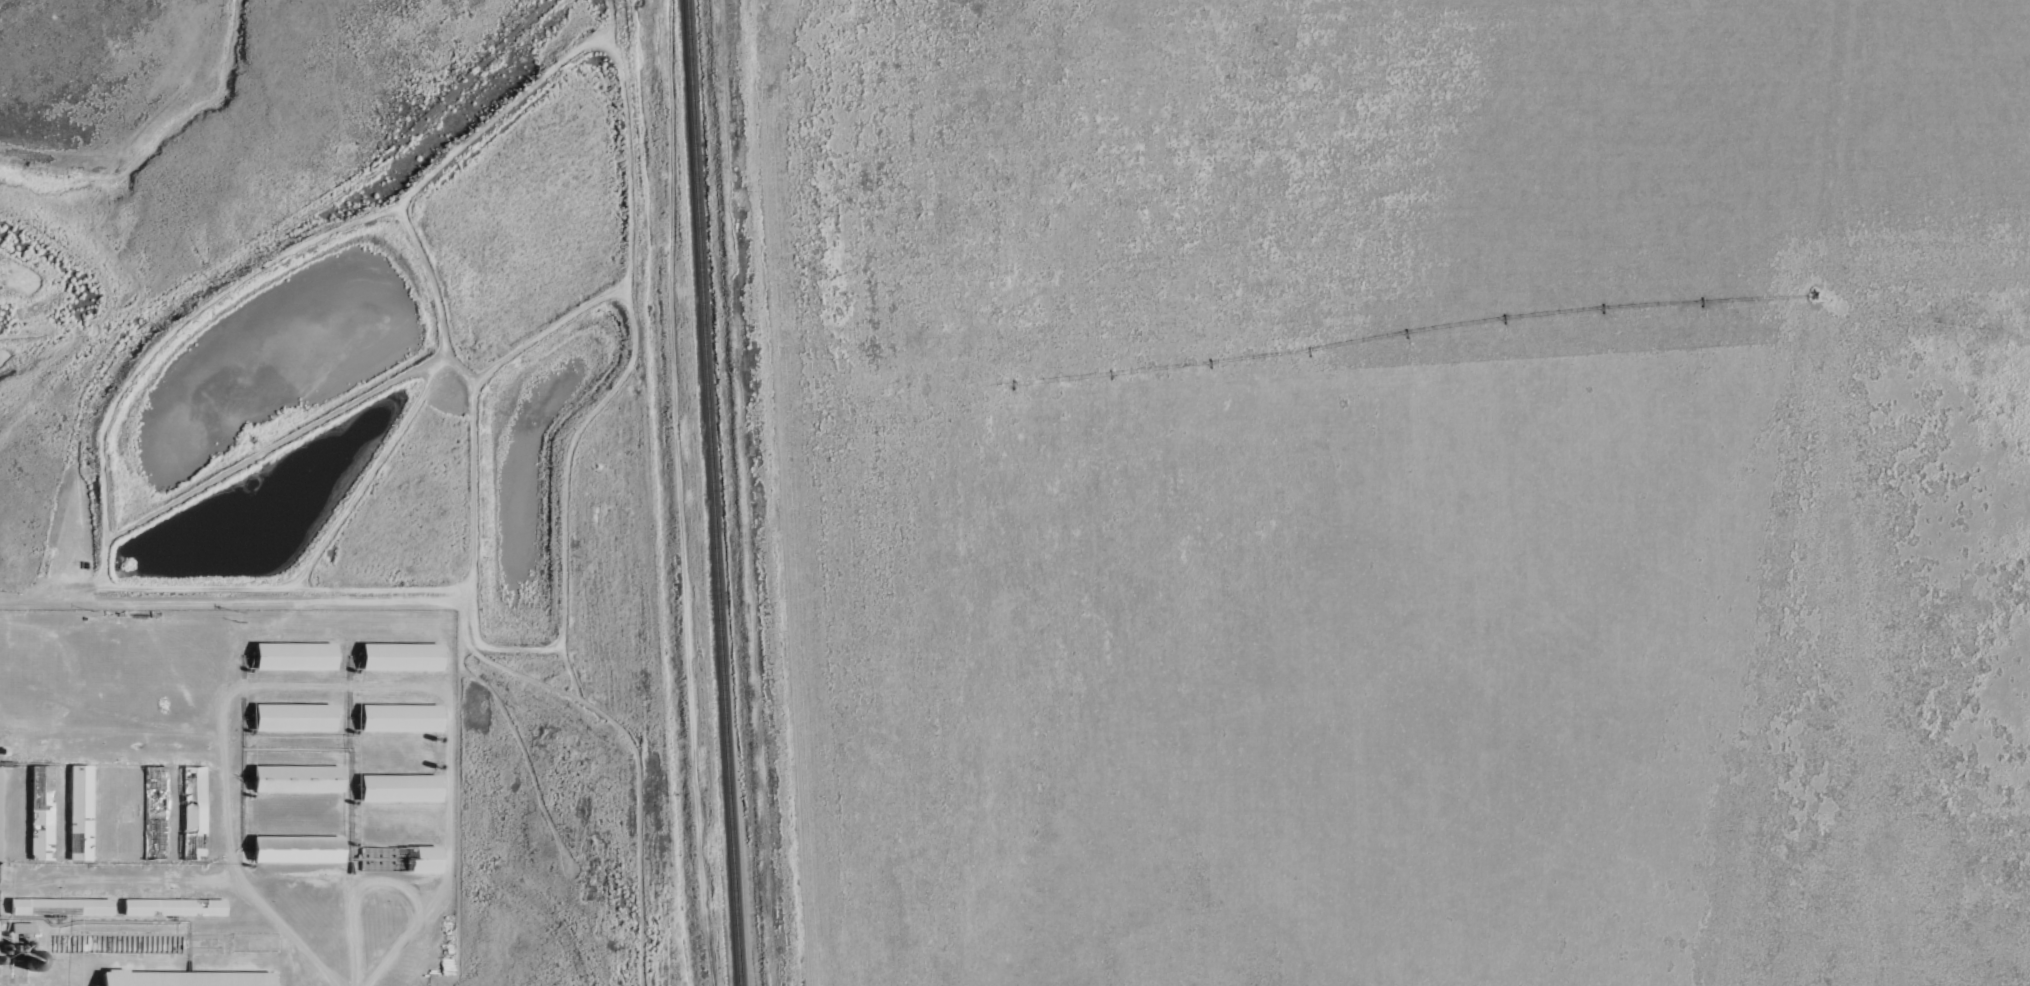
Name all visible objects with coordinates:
railway: (718, 492)
building: (295, 656)
building: (402, 657)
building: (296, 718)
building: (401, 718)
building: (298, 779)
building: (400, 788)
building: (81, 813)
building: (193, 813)
building: (43, 814)
building: (155, 815)
building: (1, 817)
building: (297, 849)
building: (402, 859)
building: (176, 905)
building: (61, 906)
building: (20, 927)
building: (183, 977)

